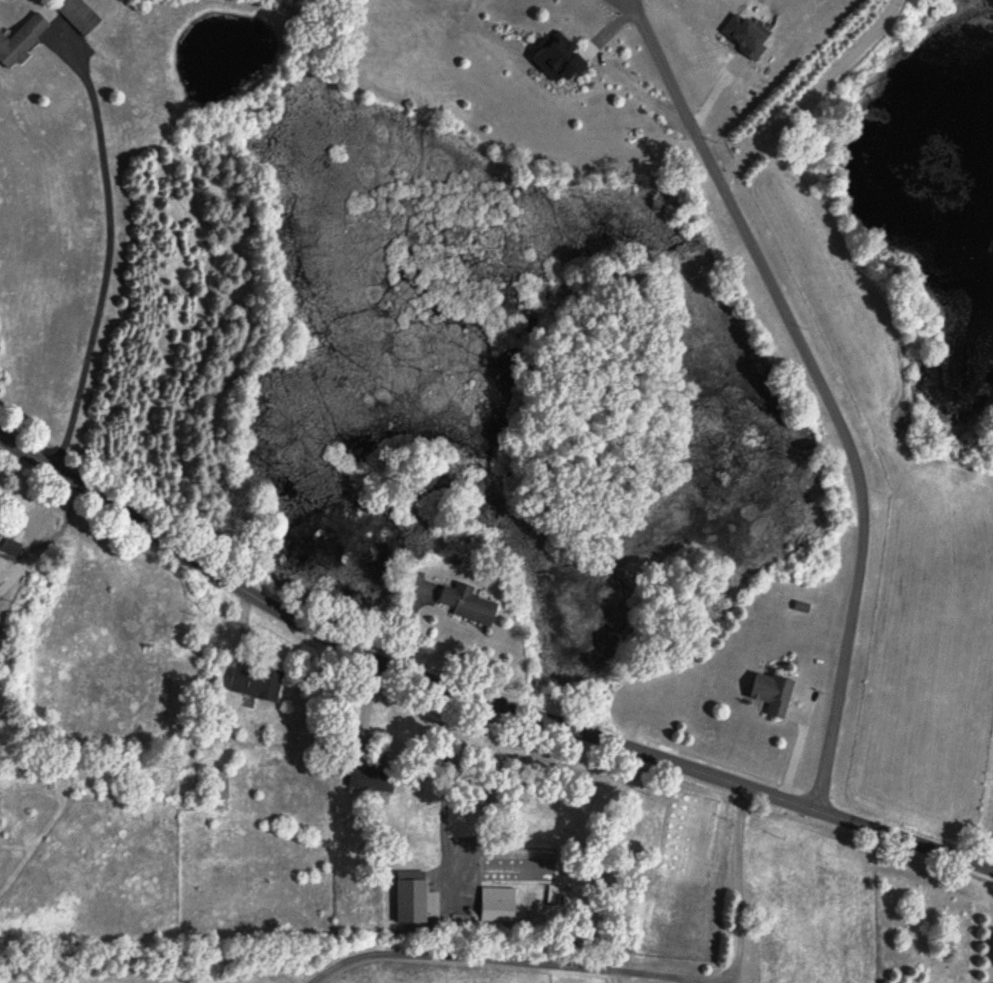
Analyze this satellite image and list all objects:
building: (80, 16)
building: (746, 38)
building: (23, 42)
building: (561, 61)
road: (808, 92)
road: (107, 262)
road: (820, 389)
building: (53, 527)
road: (30, 530)
building: (1, 537)
building: (469, 605)
building: (257, 685)
building: (772, 694)
road: (478, 695)
road: (364, 710)
building: (373, 782)
building: (218, 786)
road: (443, 786)
building: (560, 897)
building: (499, 906)
road: (608, 968)
road: (732, 975)
road: (689, 980)

